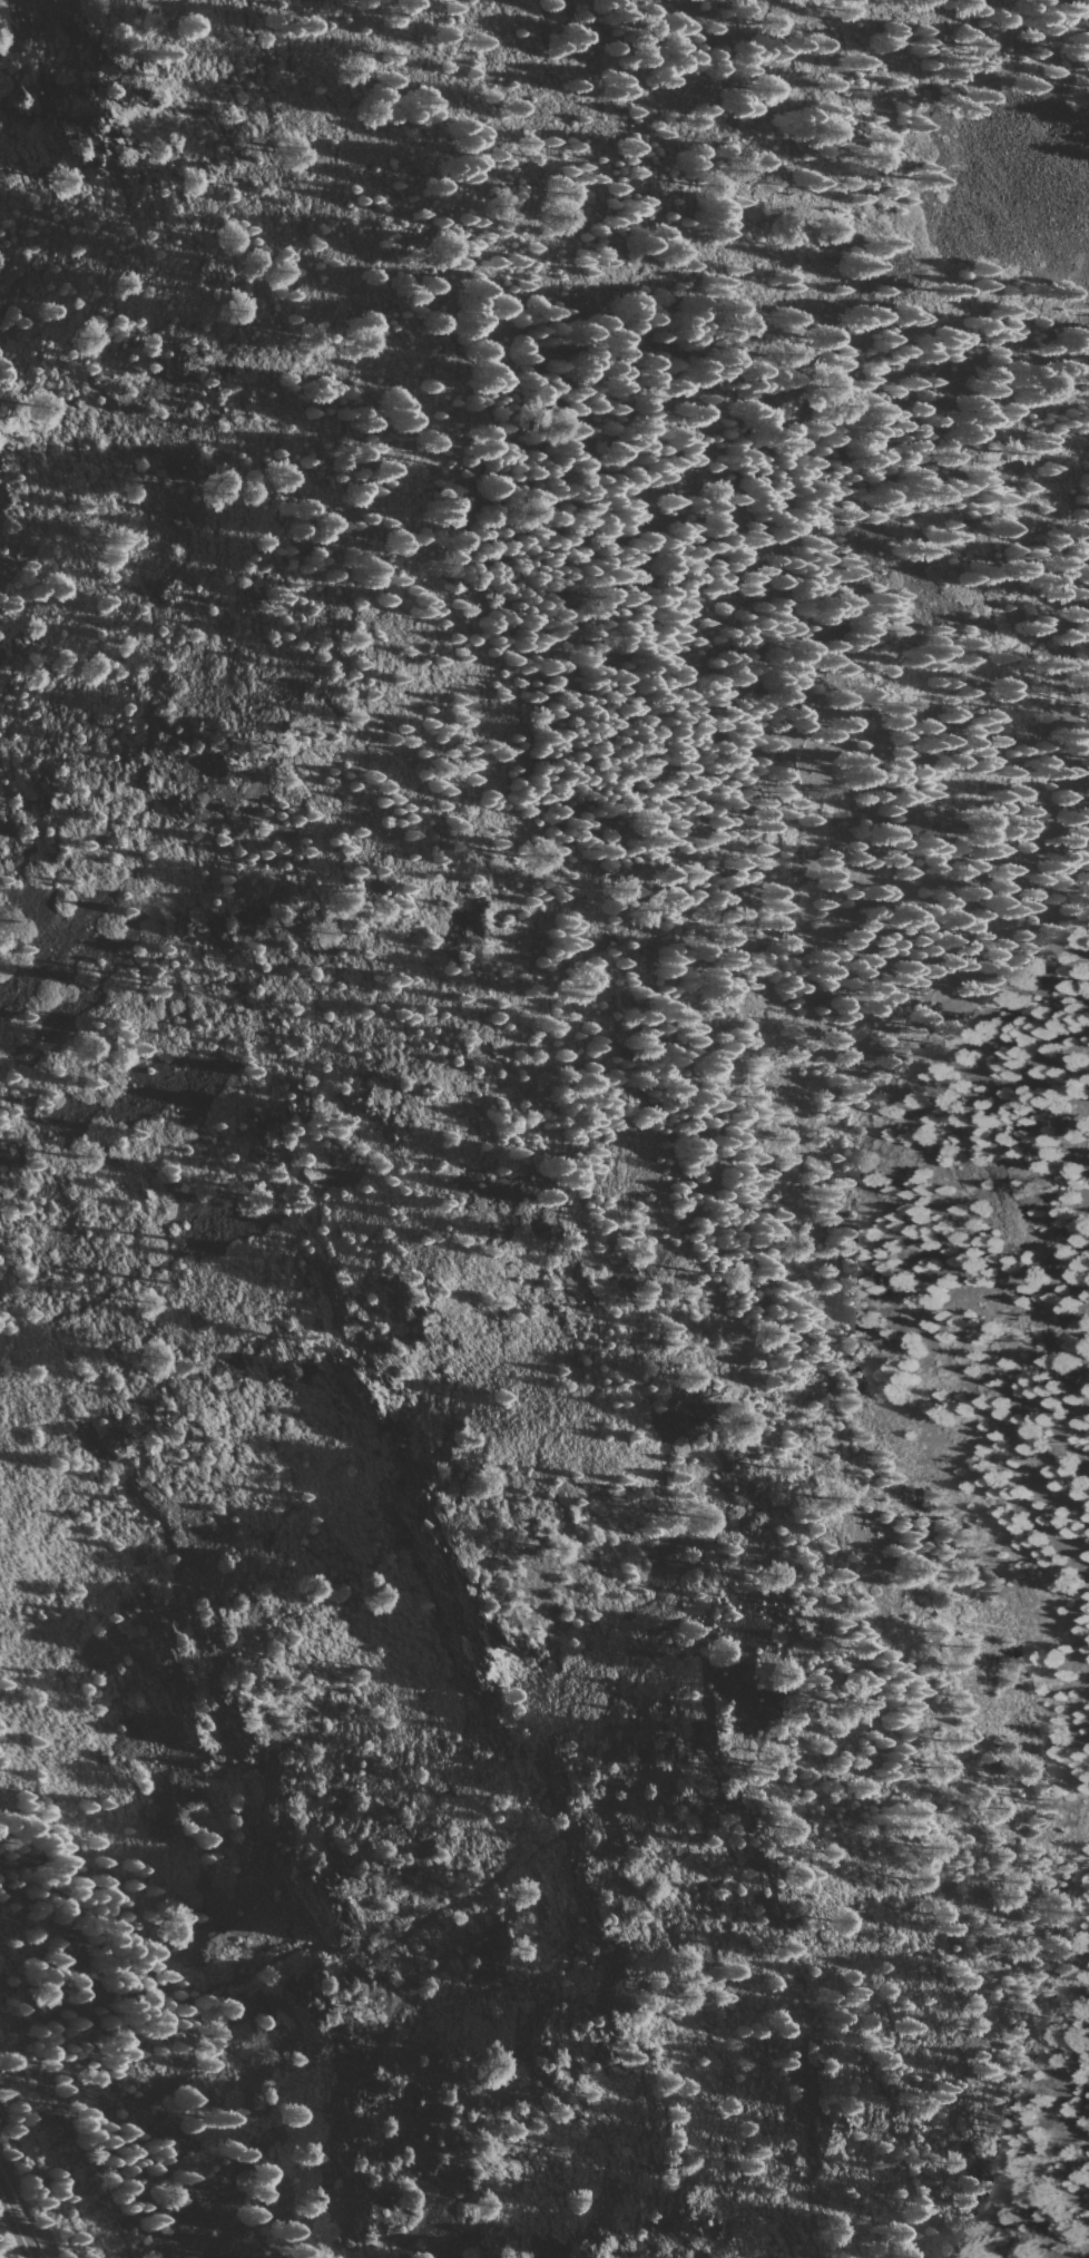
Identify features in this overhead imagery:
road: (1073, 1176)
road: (920, 1718)
road: (14, 2225)

